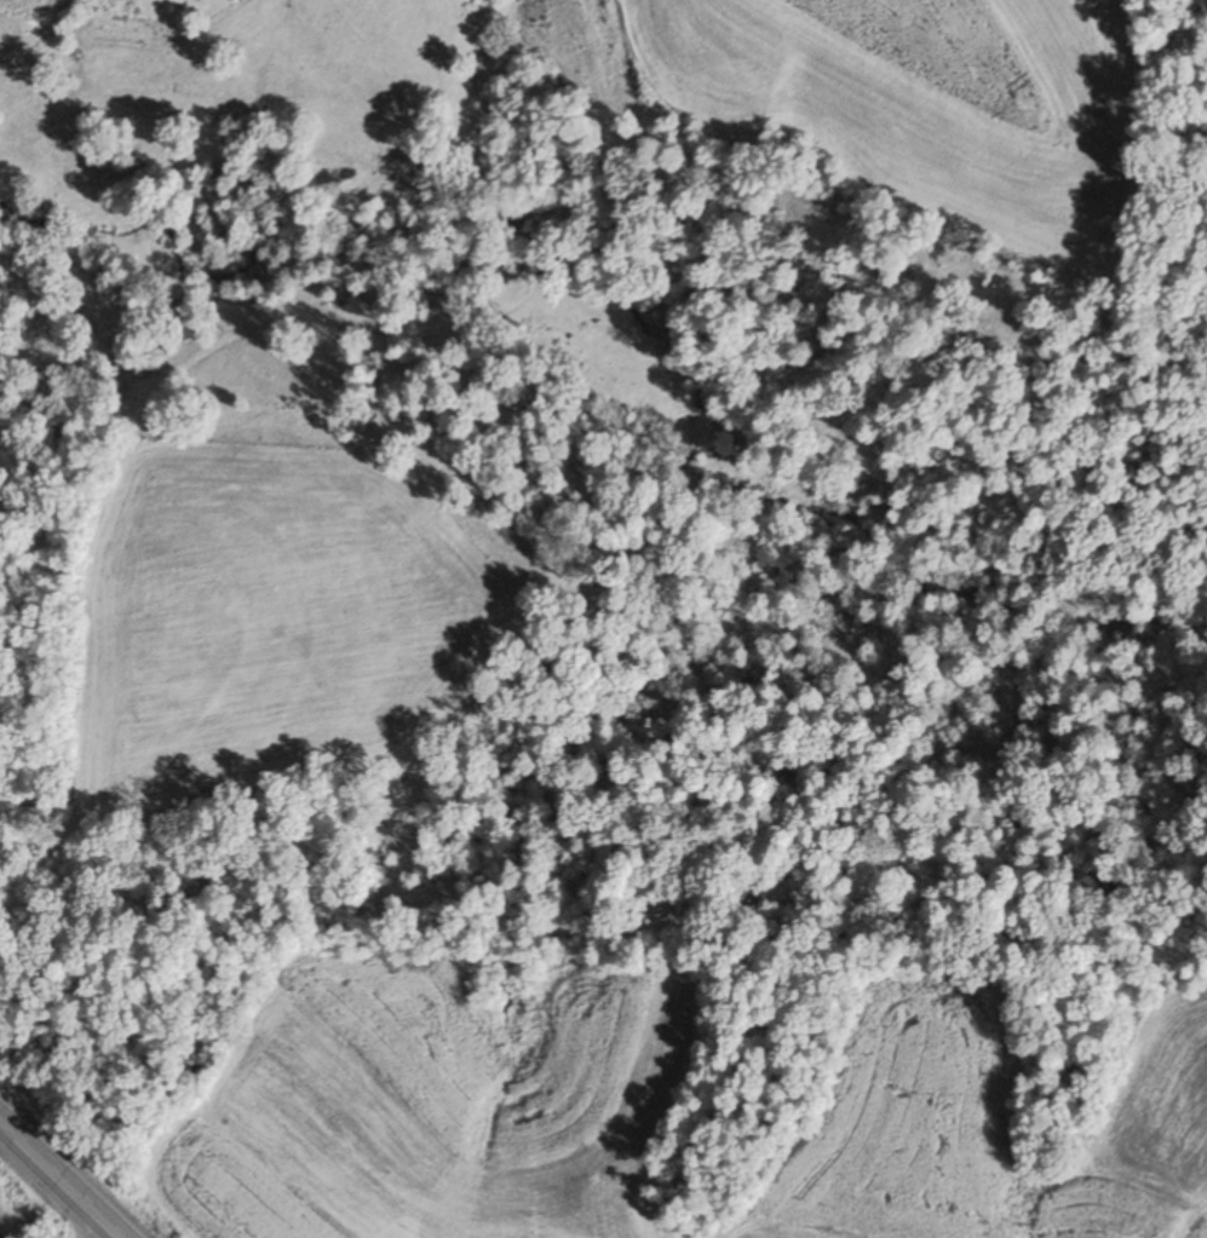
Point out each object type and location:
building: (34, 800)
road: (58, 1180)

